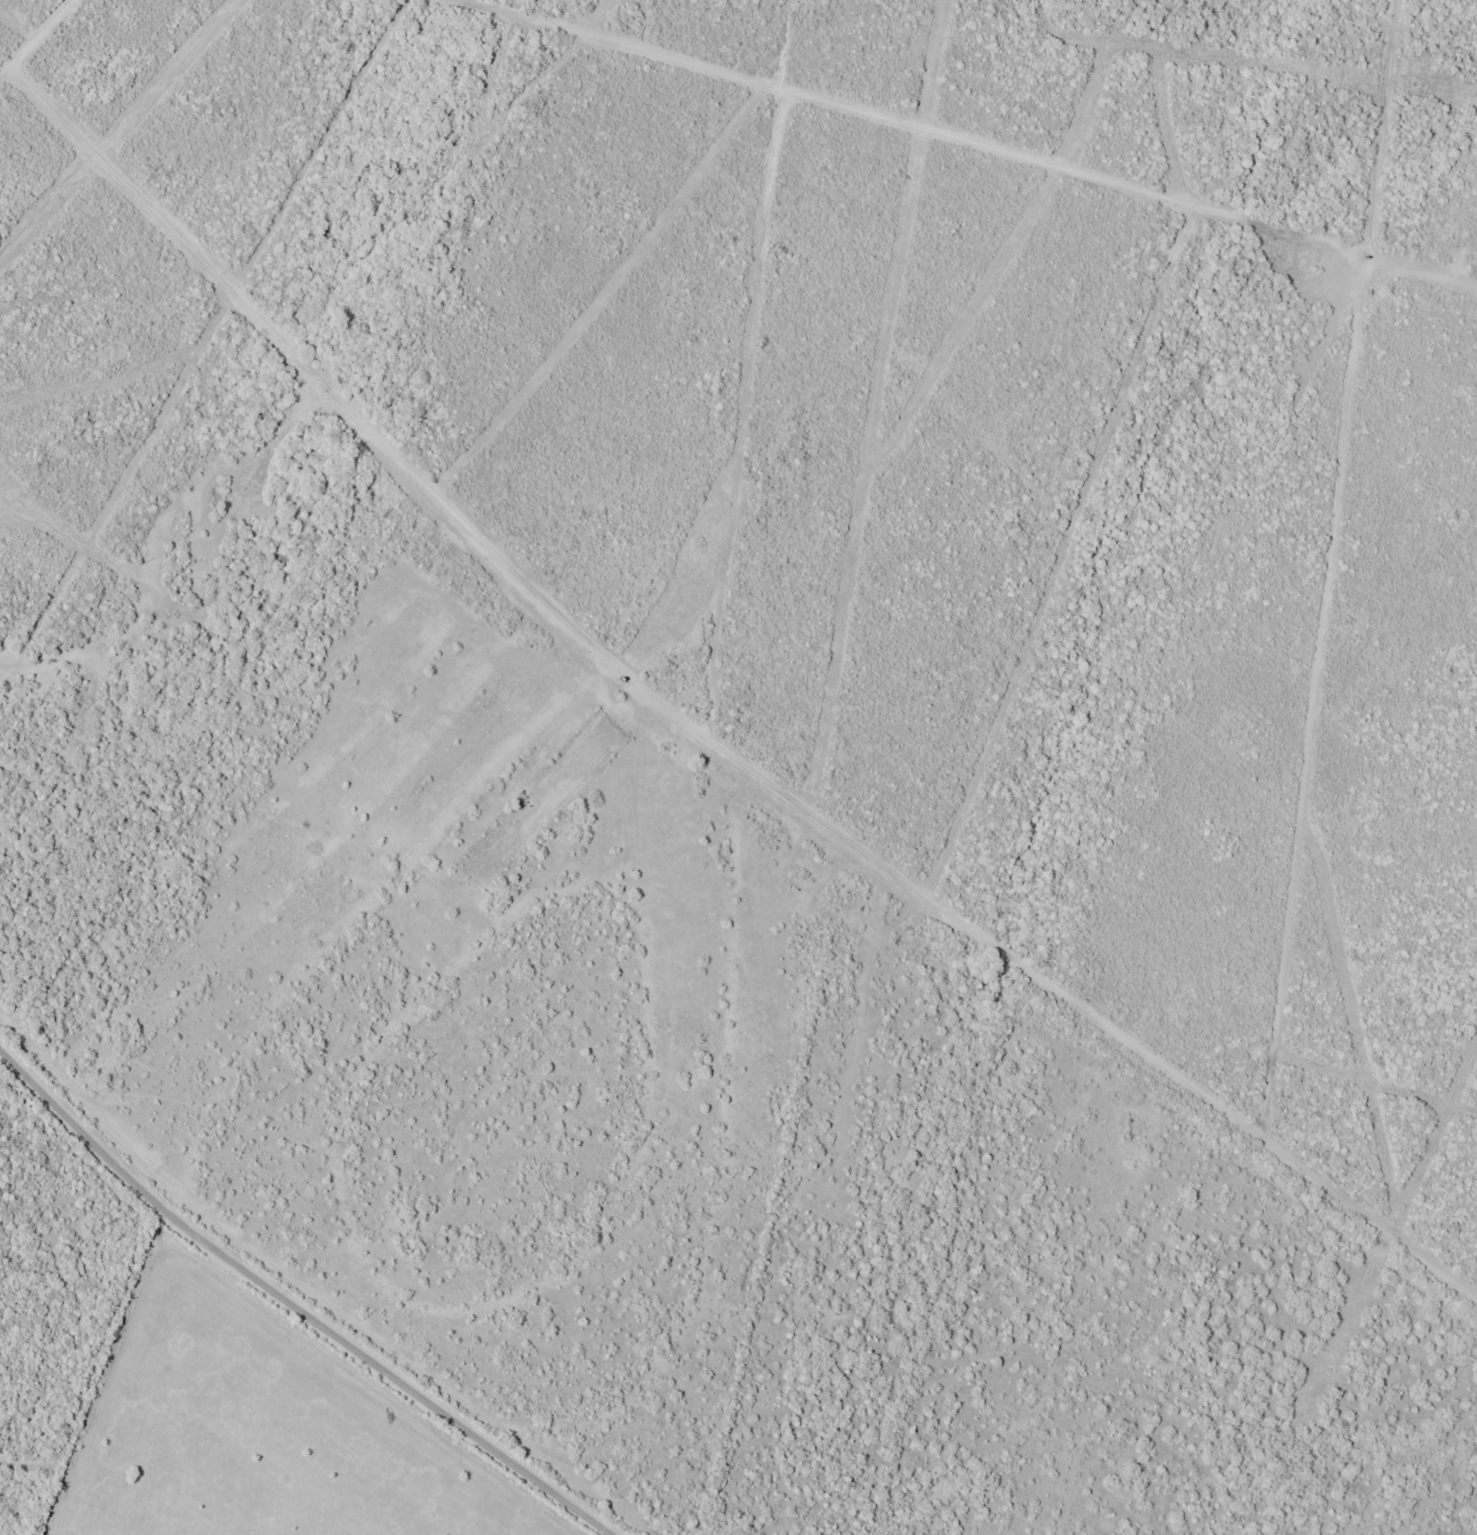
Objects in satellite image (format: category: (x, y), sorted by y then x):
road: (292, 1307)

